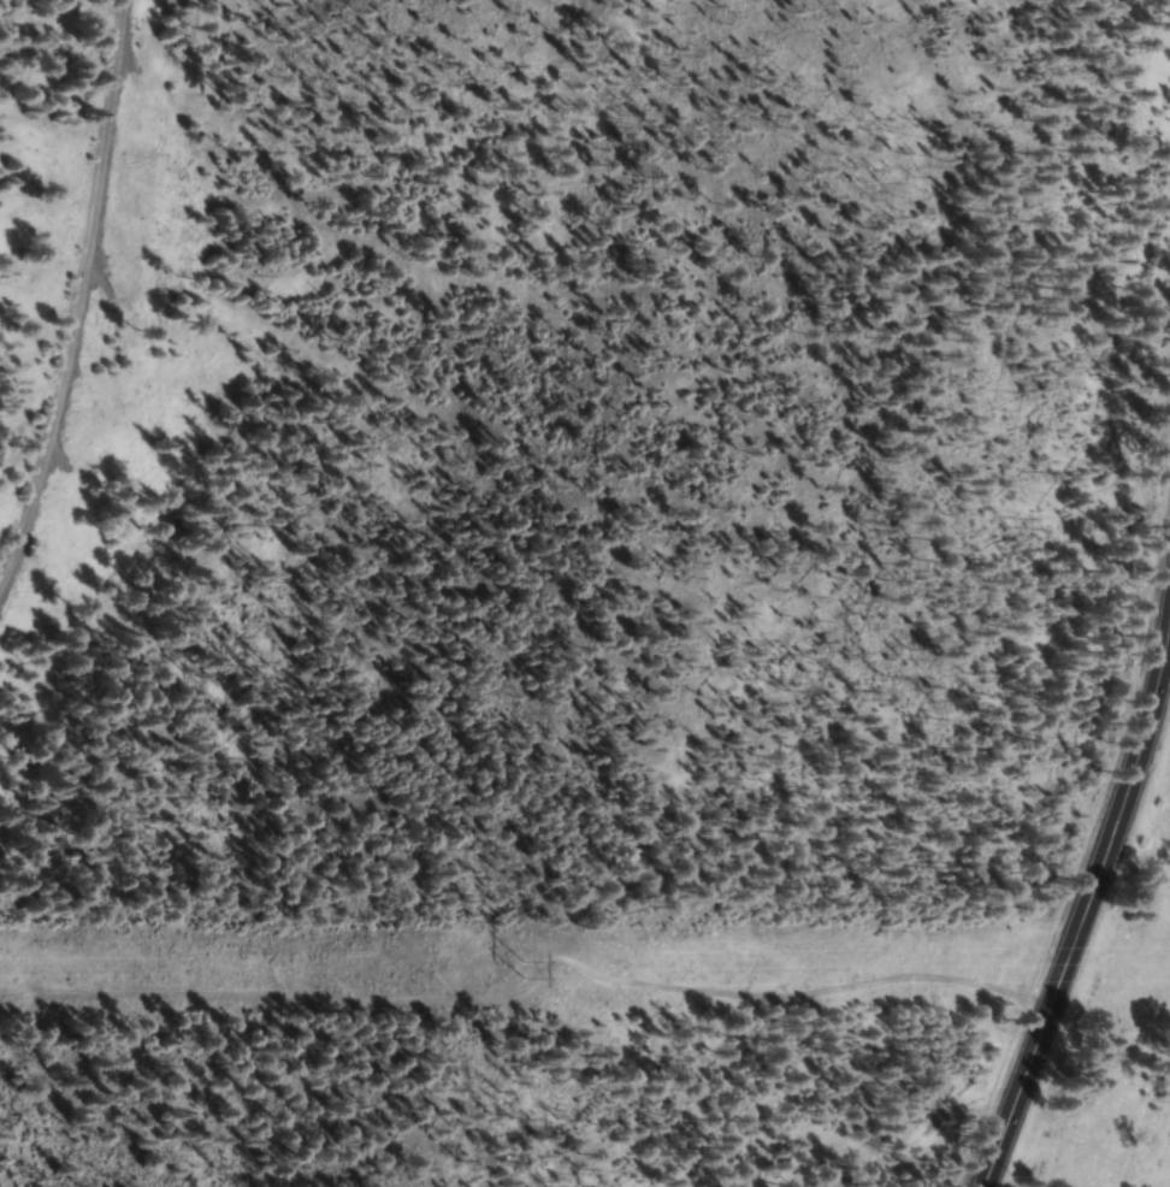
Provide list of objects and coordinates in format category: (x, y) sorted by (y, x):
road: (1080, 899)
power tower: (521, 970)

